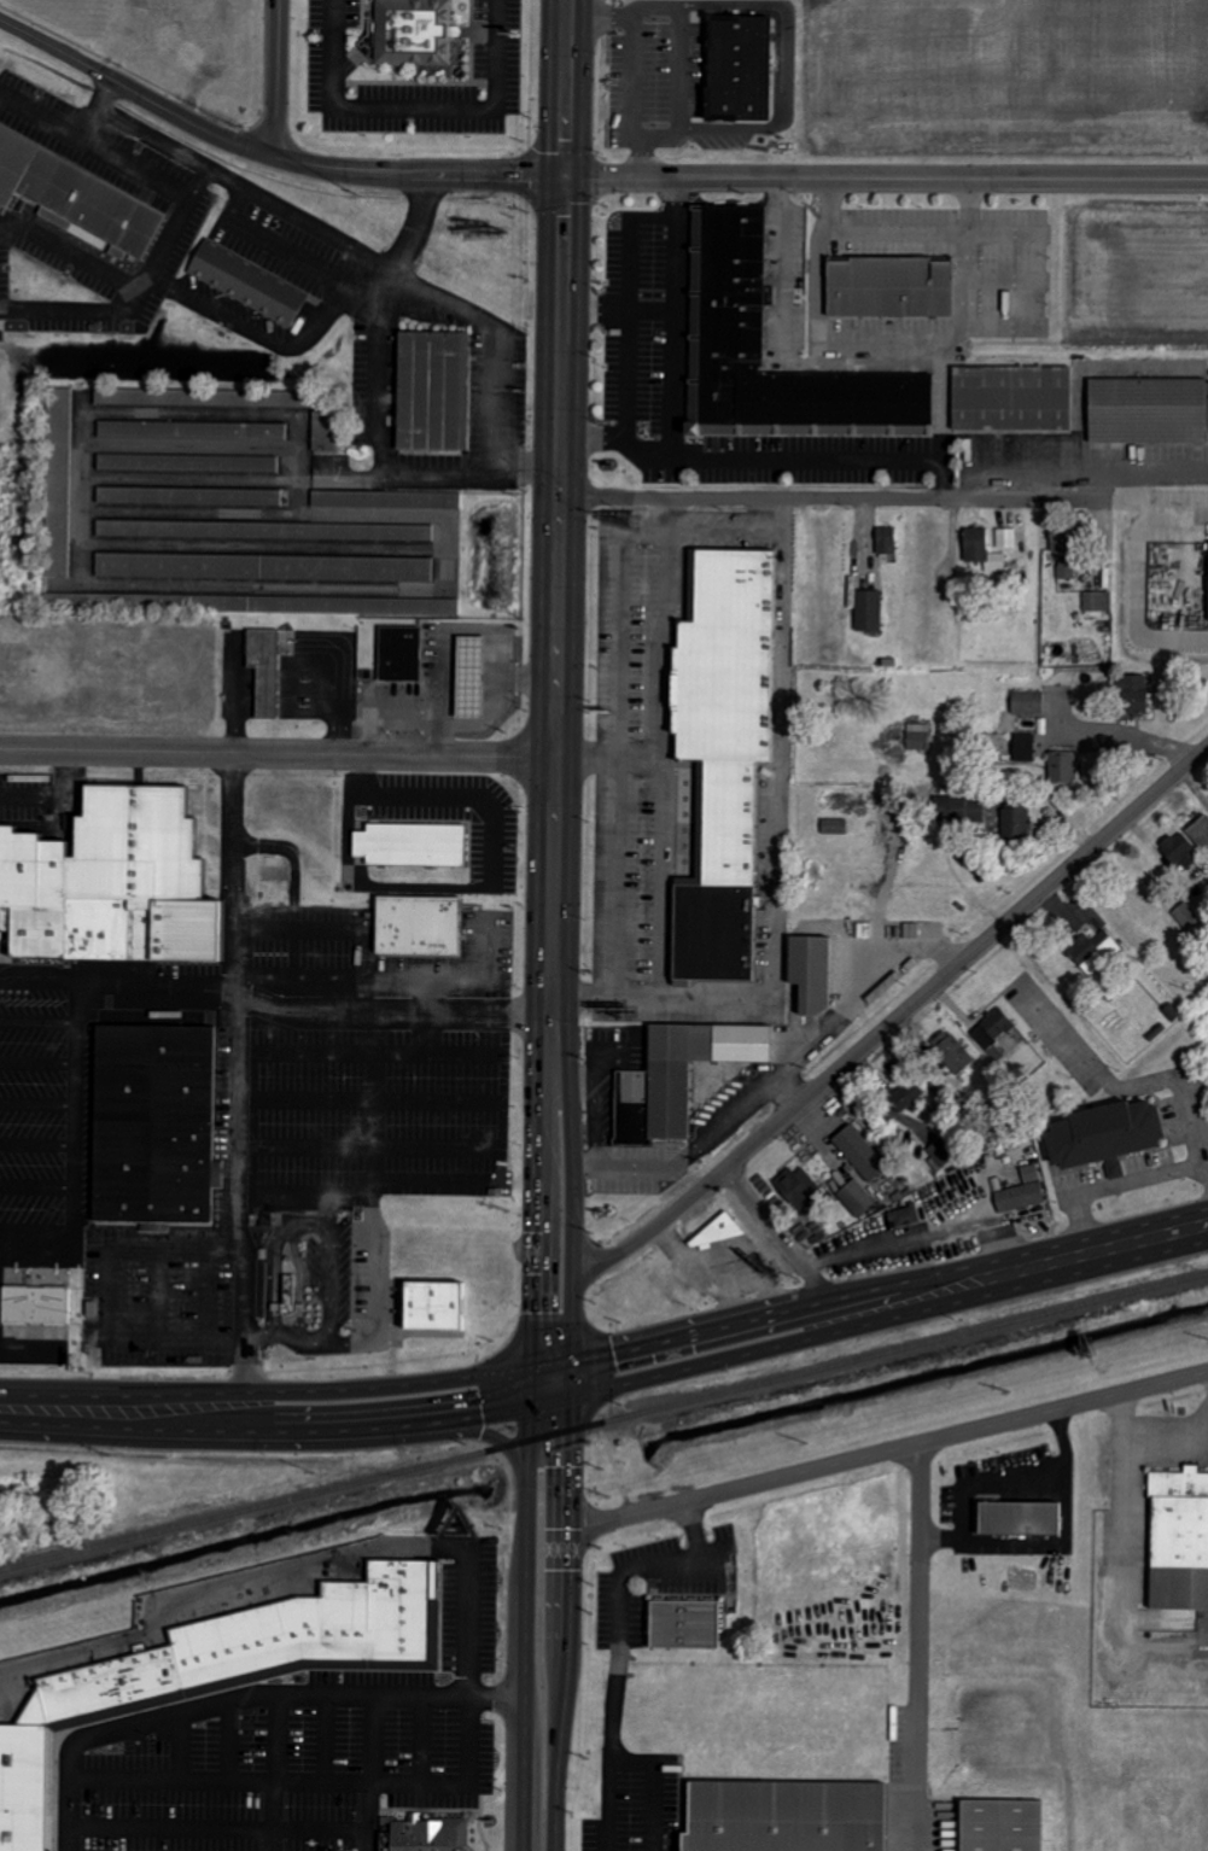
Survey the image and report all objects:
building: (414, 33)
building: (739, 68)
road: (276, 78)
road: (97, 113)
road: (415, 117)
road: (40, 124)
road: (267, 154)
traffic signals: (565, 176)
road: (886, 179)
building: (75, 197)
building: (725, 216)
road: (288, 218)
building: (725, 238)
building: (725, 256)
road: (156, 264)
building: (724, 276)
building: (246, 282)
building: (889, 287)
building: (723, 303)
road: (619, 319)
building: (724, 326)
road: (624, 343)
road: (497, 344)
building: (724, 346)
building: (719, 366)
building: (431, 390)
building: (198, 397)
building: (1011, 398)
building: (783, 401)
building: (745, 402)
building: (764, 402)
building: (803, 402)
building: (822, 402)
building: (841, 402)
building: (860, 402)
building: (879, 402)
building: (909, 402)
building: (710, 405)
building: (1148, 411)
building: (192, 430)
road: (643, 459)
building: (188, 462)
road: (383, 465)
road: (679, 465)
road: (560, 478)
building: (59, 480)
building: (189, 496)
road: (835, 498)
building: (386, 500)
building: (265, 530)
road: (643, 531)
road: (740, 531)
building: (1006, 538)
building: (886, 541)
building: (982, 551)
building: (1066, 555)
building: (265, 567)
building: (1098, 603)
building: (319, 605)
building: (869, 611)
building: (399, 654)
building: (264, 670)
building: (469, 677)
building: (1134, 694)
building: (1027, 702)
building: (918, 736)
road: (665, 745)
building: (1025, 748)
road: (614, 752)
road: (278, 754)
building: (720, 754)
road: (609, 759)
building: (1062, 767)
building: (1015, 822)
building: (834, 827)
building: (1201, 833)
building: (410, 842)
building: (1181, 851)
road: (228, 874)
building: (109, 883)
building: (418, 924)
road: (296, 928)
road: (297, 952)
building: (1093, 952)
building: (810, 974)
road: (307, 976)
road: (440, 976)
road: (117, 982)
road: (650, 992)
road: (426, 993)
road: (384, 1010)
road: (36, 1020)
road: (894, 1020)
building: (1009, 1047)
building: (955, 1055)
road: (36, 1061)
building: (678, 1078)
road: (72, 1084)
building: (906, 1097)
road: (256, 1099)
road: (381, 1100)
road: (36, 1104)
parking lot: (45, 1110)
road: (377, 1117)
building: (153, 1122)
road: (506, 1126)
building: (1105, 1133)
road: (35, 1145)
road: (316, 1149)
building: (860, 1152)
building: (943, 1154)
road: (533, 1173)
road: (240, 1175)
road: (431, 1183)
road: (35, 1186)
building: (800, 1189)
building: (1022, 1192)
building: (857, 1198)
building: (904, 1216)
road: (57, 1230)
building: (713, 1233)
road: (333, 1238)
road: (778, 1242)
road: (380, 1287)
building: (290, 1292)
parking lot: (157, 1296)
road: (154, 1297)
road: (888, 1302)
building: (433, 1303)
building: (35, 1304)
road: (112, 1320)
road: (250, 1335)
traffic signals: (570, 1383)
road: (552, 1388)
traffic signals: (533, 1394)
road: (568, 1402)
road: (267, 1411)
railway: (603, 1423)
road: (1148, 1438)
road: (888, 1450)
road: (999, 1482)
building: (1020, 1518)
building: (1178, 1540)
road: (294, 1564)
road: (618, 1604)
road: (526, 1622)
building: (684, 1624)
building: (256, 1643)
road: (916, 1647)
road: (241, 1695)
road: (325, 1736)
road: (228, 1738)
road: (175, 1745)
road: (273, 1773)
road: (367, 1773)
road: (308, 1779)
road: (650, 1786)
building: (23, 1787)
road: (605, 1806)
building: (784, 1816)
building: (885, 1817)
road: (217, 1823)
building: (1002, 1824)
building: (431, 1833)

